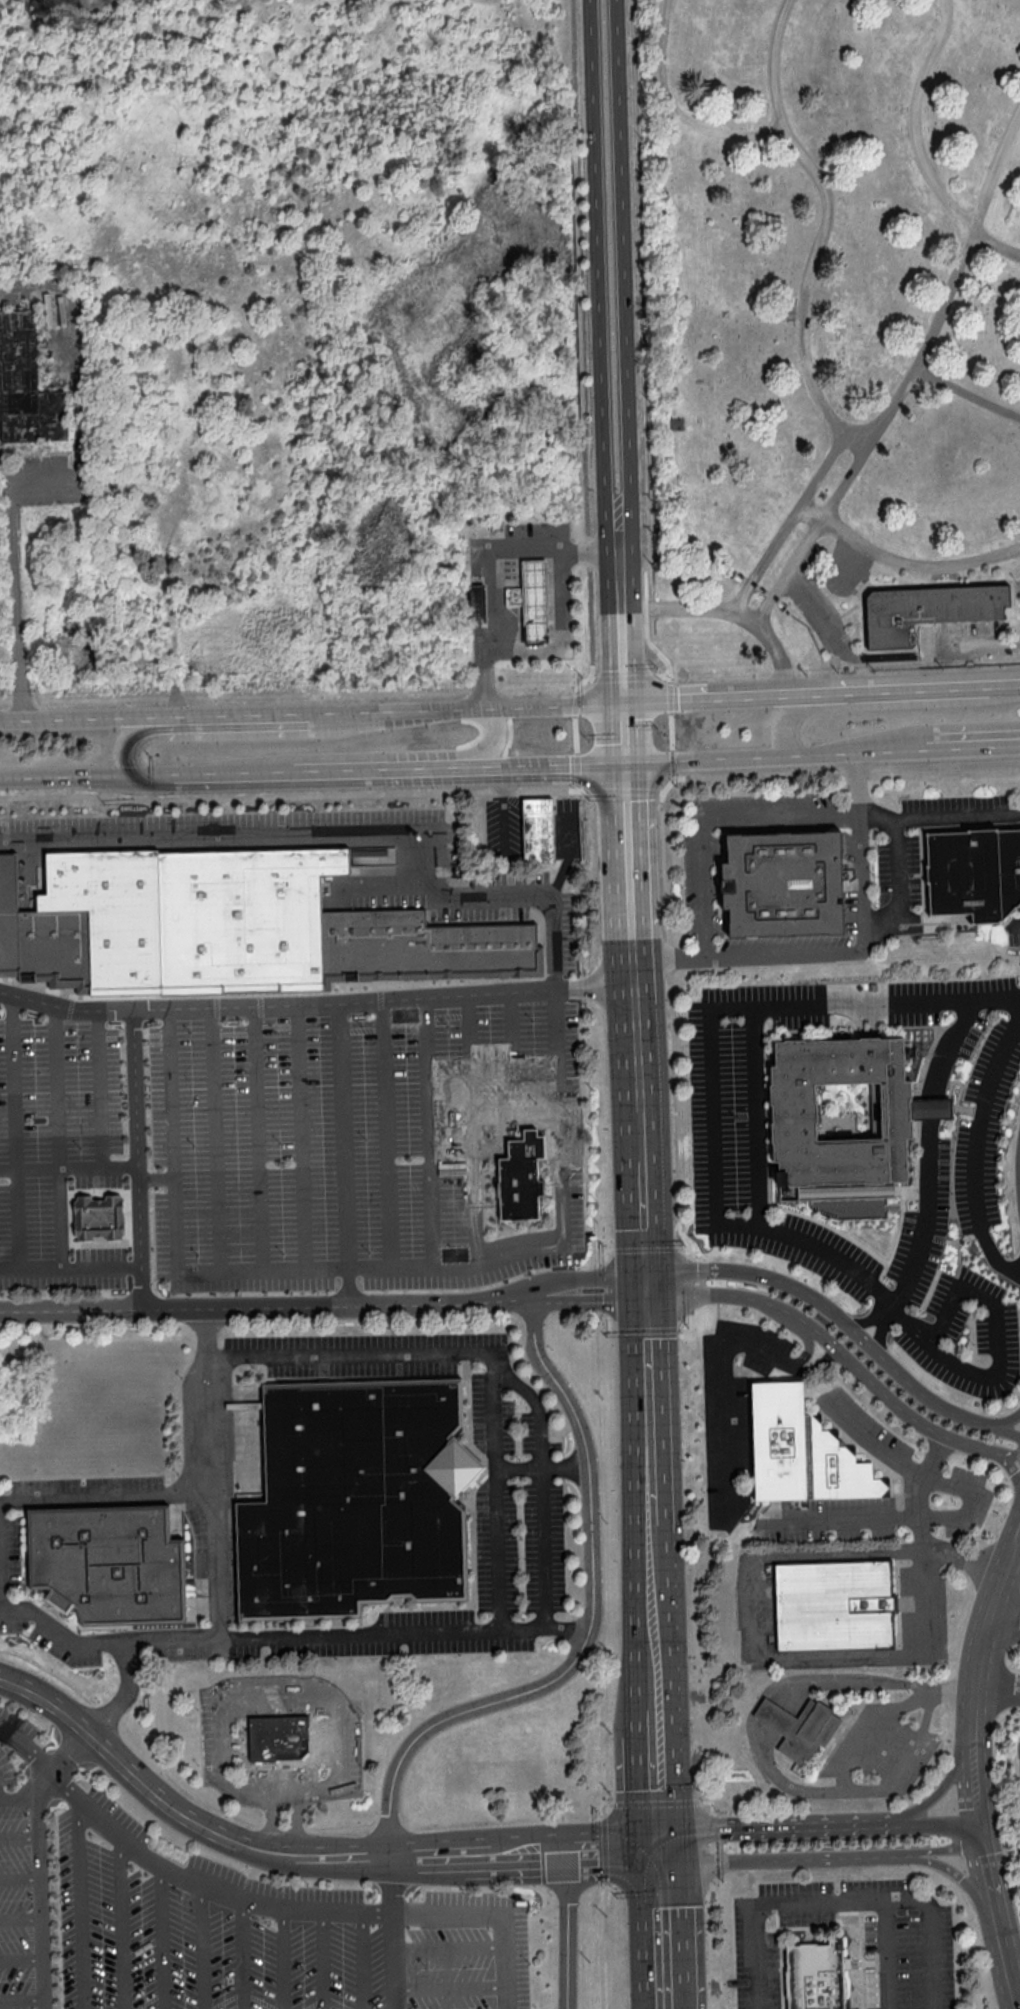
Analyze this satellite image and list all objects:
road: (572, 70)
road: (674, 109)
road: (913, 122)
road: (825, 217)
road: (996, 246)
road: (579, 288)
road: (621, 291)
road: (599, 307)
park: (828, 333)
road: (643, 341)
road: (913, 380)
building: (26, 383)
road: (969, 396)
road: (801, 507)
road: (499, 552)
road: (916, 564)
road: (15, 590)
road: (627, 596)
building: (477, 599)
building: (535, 600)
road: (821, 611)
building: (928, 611)
road: (728, 615)
road: (590, 617)
road: (560, 640)
road: (981, 646)
road: (625, 654)
road: (481, 676)
road: (1014, 682)
road: (669, 687)
road: (816, 691)
traffic signals: (626, 700)
road: (550, 703)
road: (882, 704)
road: (400, 706)
road: (242, 711)
road: (79, 715)
road: (947, 730)
road: (626, 731)
road: (497, 735)
road: (129, 740)
road: (950, 749)
road: (836, 753)
road: (709, 758)
traffic signals: (627, 762)
road: (553, 766)
road: (386, 772)
road: (854, 772)
road: (943, 773)
road: (217, 776)
road: (71, 778)
traffic signals: (142, 778)
road: (672, 778)
road: (856, 782)
road: (330, 793)
parking lot: (764, 800)
parking lot: (955, 802)
road: (502, 812)
road: (957, 815)
road: (713, 817)
road: (568, 831)
road: (329, 832)
building: (539, 832)
road: (629, 833)
road: (28, 866)
road: (897, 866)
parking lot: (899, 867)
building: (975, 873)
road: (860, 874)
building: (784, 882)
road: (386, 885)
parking lot: (691, 885)
building: (228, 926)
road: (1015, 926)
parking lot: (1014, 937)
road: (551, 941)
parking lot: (786, 942)
road: (634, 953)
road: (789, 953)
road: (670, 957)
parking lot: (932, 996)
road: (317, 1003)
road: (951, 1040)
road: (555, 1049)
road: (512, 1051)
road: (710, 1057)
road: (638, 1058)
parking lot: (736, 1081)
road: (98, 1087)
building: (931, 1108)
road: (930, 1109)
road: (515, 1110)
road: (756, 1115)
building: (796, 1121)
road: (14, 1128)
road: (473, 1128)
road: (428, 1130)
road: (386, 1132)
road: (57, 1133)
road: (343, 1134)
road: (300, 1135)
road: (257, 1136)
road: (640, 1136)
road: (215, 1137)
road: (977, 1146)
parking lot: (292, 1152)
parking lot: (963, 1156)
road: (137, 1158)
road: (68, 1165)
road: (927, 1165)
building: (521, 1177)
road: (156, 1178)
road: (642, 1217)
building: (99, 1218)
parking lot: (807, 1249)
road: (70, 1262)
road: (305, 1266)
road: (912, 1267)
road: (689, 1269)
traffic signals: (645, 1275)
road: (588, 1277)
road: (645, 1285)
traffic signals: (646, 1296)
road: (589, 1300)
road: (267, 1307)
parking lot: (967, 1309)
road: (882, 1316)
road: (1002, 1320)
road: (843, 1324)
road: (823, 1341)
road: (490, 1351)
road: (806, 1353)
road: (811, 1364)
road: (725, 1401)
parking lot: (732, 1407)
road: (649, 1410)
road: (1001, 1421)
parking lot: (869, 1425)
building: (801, 1449)
road: (995, 1453)
road: (1015, 1461)
road: (542, 1467)
road: (1015, 1471)
road: (212, 1473)
road: (540, 1487)
road: (106, 1498)
building: (359, 1500)
parking lot: (978, 1503)
road: (966, 1506)
parking lot: (842, 1519)
road: (921, 1531)
building: (111, 1563)
building: (833, 1603)
parking lot: (921, 1605)
road: (655, 1615)
road: (52, 1621)
road: (1003, 1623)
road: (589, 1624)
road: (358, 1635)
road: (927, 1653)
road: (279, 1678)
road: (996, 1686)
road: (947, 1693)
road: (125, 1694)
road: (776, 1699)
road: (264, 1705)
building: (775, 1716)
road: (659, 1719)
road: (873, 1725)
building: (809, 1732)
building: (279, 1734)
parking lot: (849, 1739)
parking lot: (886, 1747)
parking lot: (1018, 1755)
road: (905, 1759)
road: (970, 1768)
road: (944, 1785)
road: (662, 1789)
road: (19, 1798)
road: (710, 1801)
road: (655, 1803)
road: (602, 1805)
road: (270, 1820)
road: (293, 1822)
road: (818, 1824)
road: (20, 1835)
road: (711, 1846)
traffic signals: (665, 1847)
road: (604, 1849)
road: (303, 1857)
road: (821, 1858)
road: (42, 1862)
road: (952, 1873)
road: (21, 1879)
road: (712, 1885)
road: (840, 1899)
road: (79, 1903)
road: (264, 1910)
road: (22, 1918)
parking lot: (219, 1918)
road: (121, 1921)
road: (667, 1928)
road: (567, 1929)
road: (394, 1932)
road: (161, 1936)
parking lot: (908, 1941)
road: (600, 1944)
road: (201, 1947)
road: (449, 1947)
road: (888, 1953)
road: (242, 1956)
road: (23, 1958)
road: (283, 1960)
road: (323, 1961)
road: (362, 1962)
building: (817, 1976)
road: (450, 1987)
road: (24, 1999)

